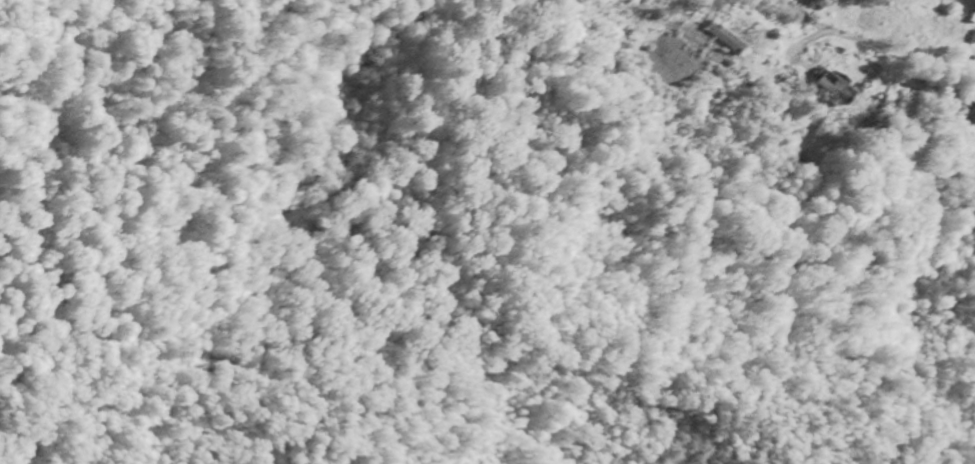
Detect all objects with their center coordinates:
road: (908, 52)
building: (841, 87)
road: (911, 119)

